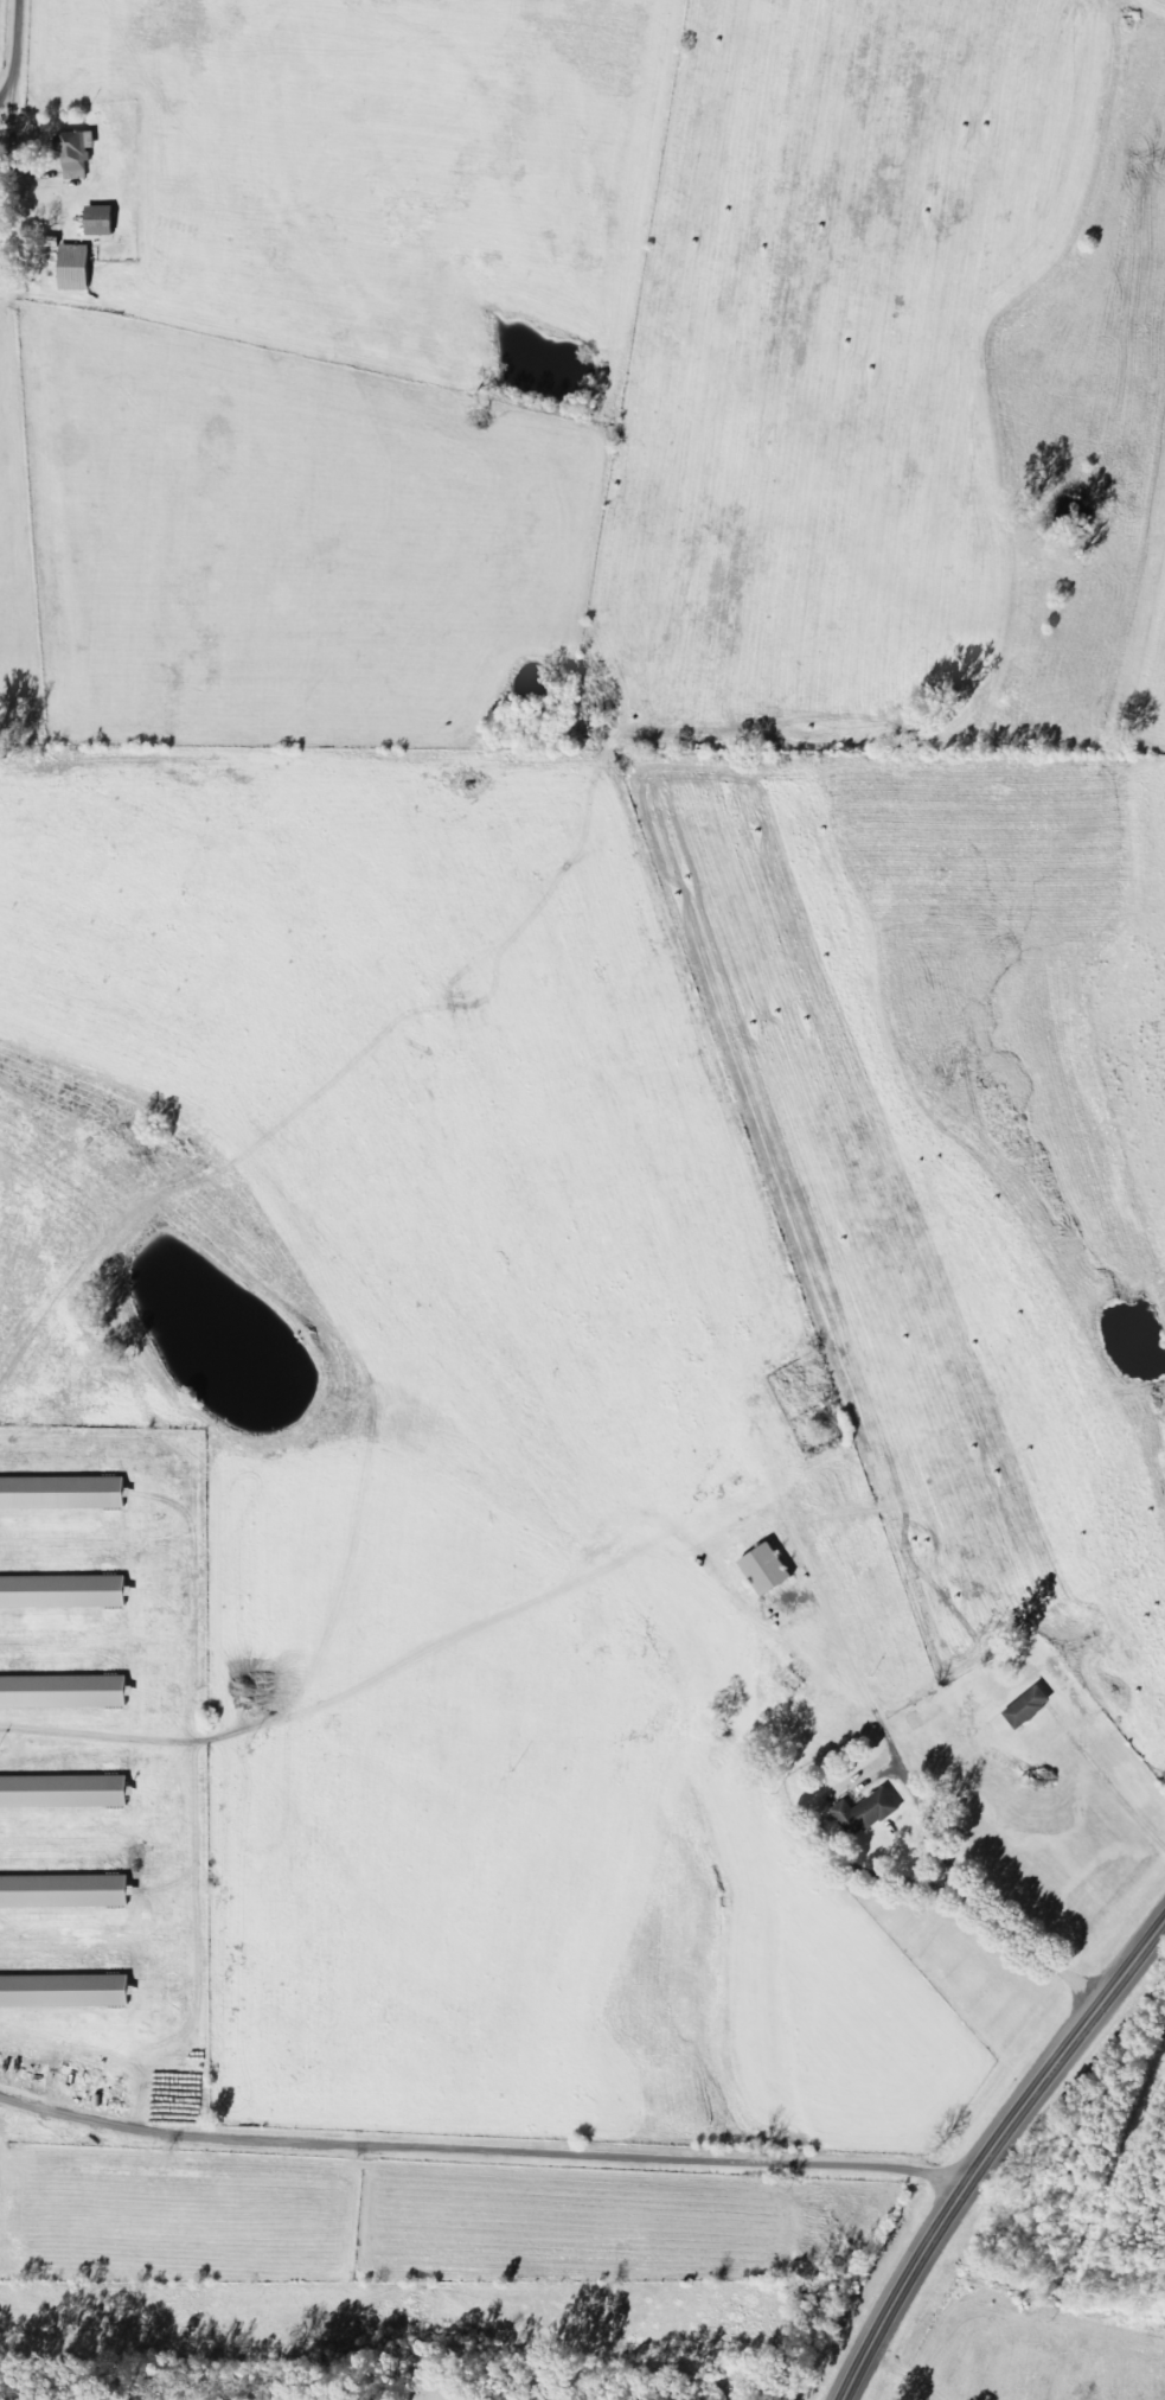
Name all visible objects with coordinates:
road: (32, 79)
building: (79, 152)
building: (104, 222)
building: (65, 1494)
building: (772, 1571)
building: (65, 1592)
building: (66, 1693)
building: (1033, 1709)
building: (66, 1793)
building: (870, 1814)
building: (68, 1892)
building: (68, 1993)
road: (988, 2149)
road: (480, 2152)

